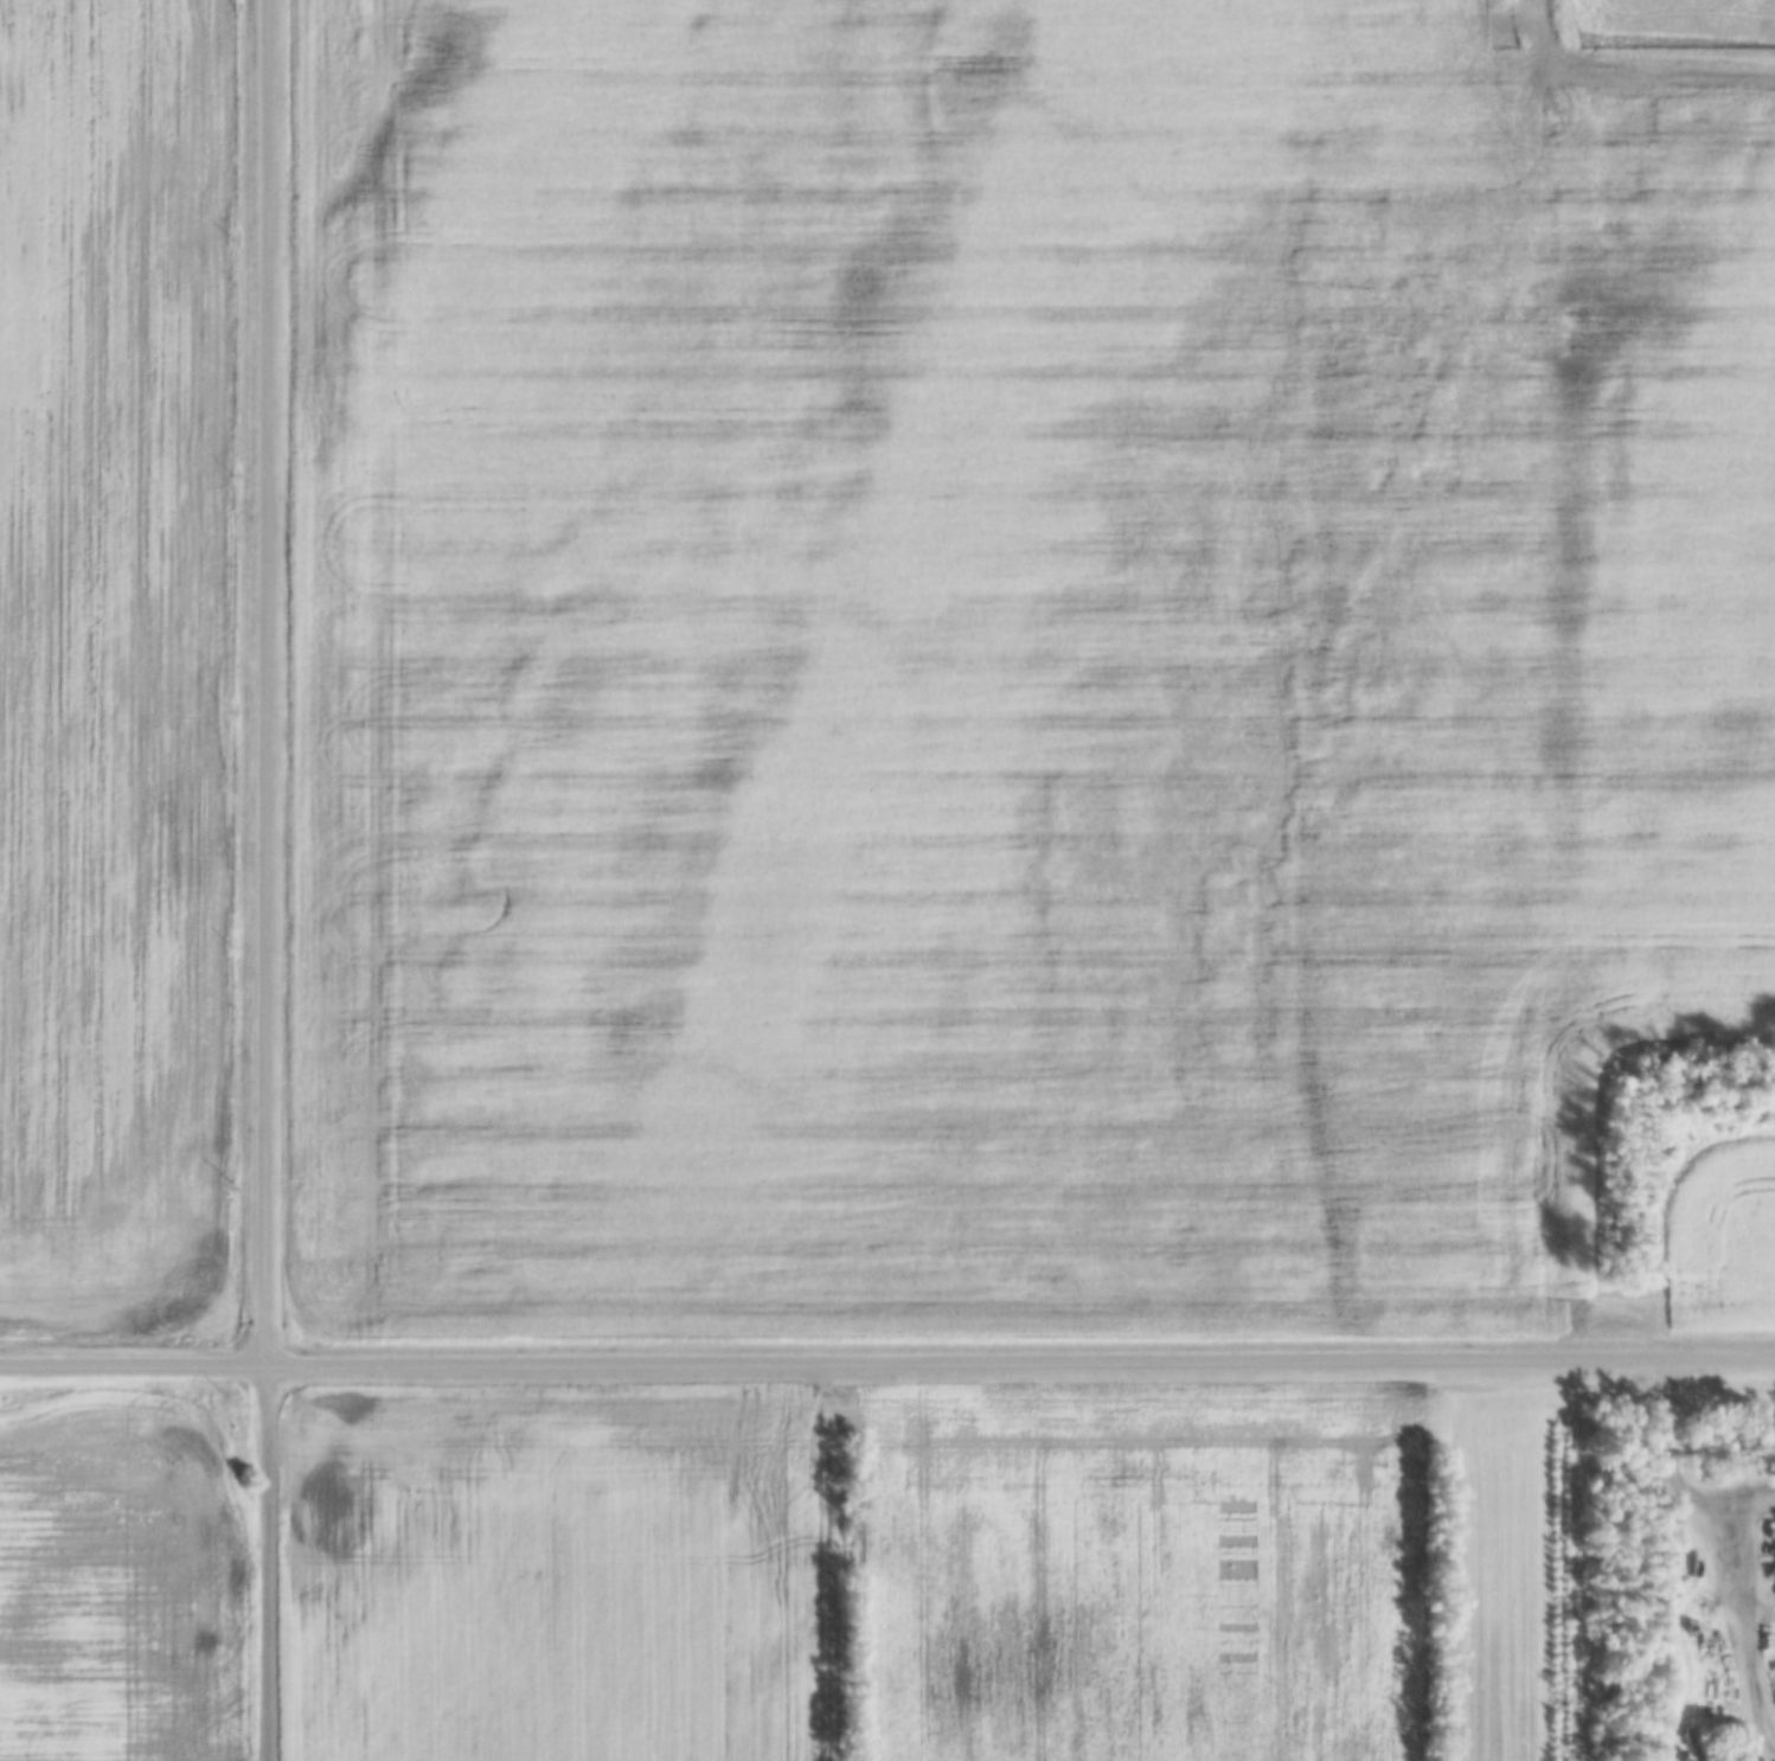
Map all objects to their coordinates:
road: (269, 683)
road: (887, 1362)
road: (1680, 1473)
road: (268, 1563)
road: (1690, 1653)

